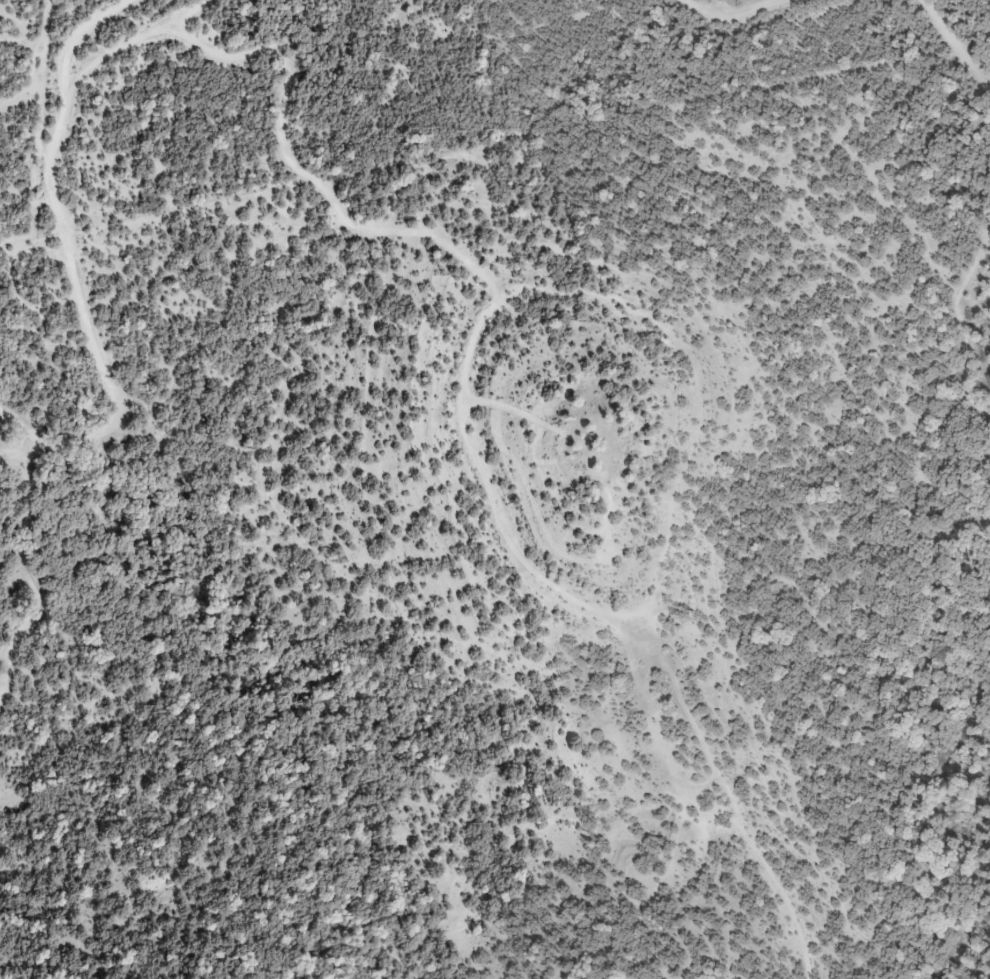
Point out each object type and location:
road: (709, 6)
road: (681, 120)
road: (39, 240)

